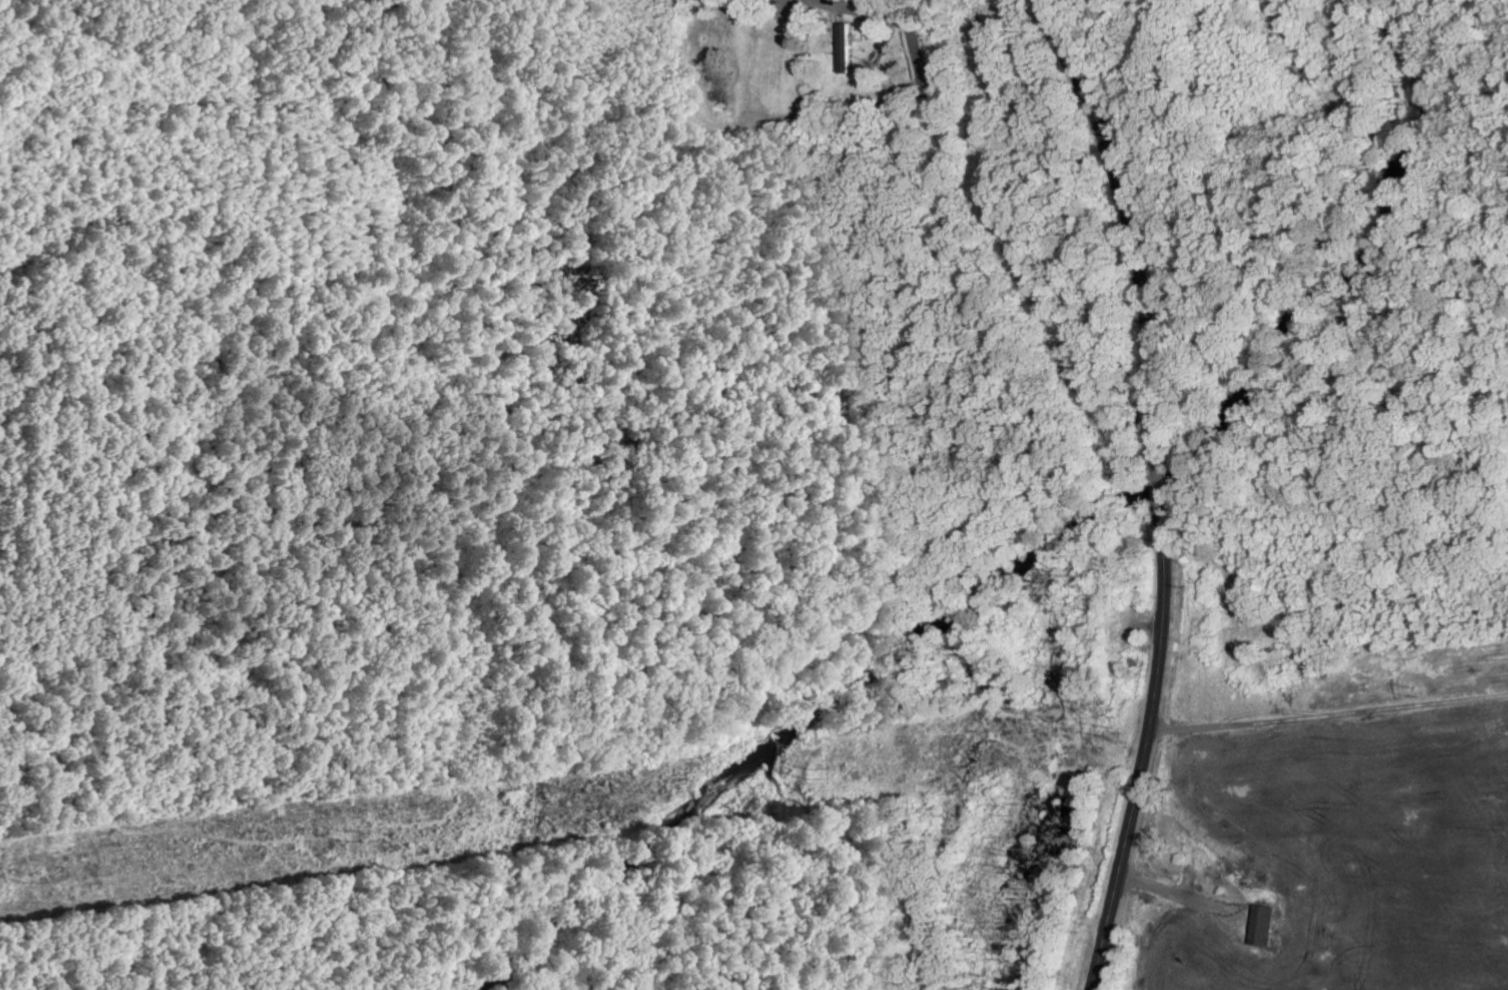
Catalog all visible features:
road: (915, 45)
building: (848, 48)
road: (1166, 489)
road: (1330, 720)
power tower: (802, 771)
power tower: (340, 830)
power tower: (25, 873)
building: (1265, 925)

